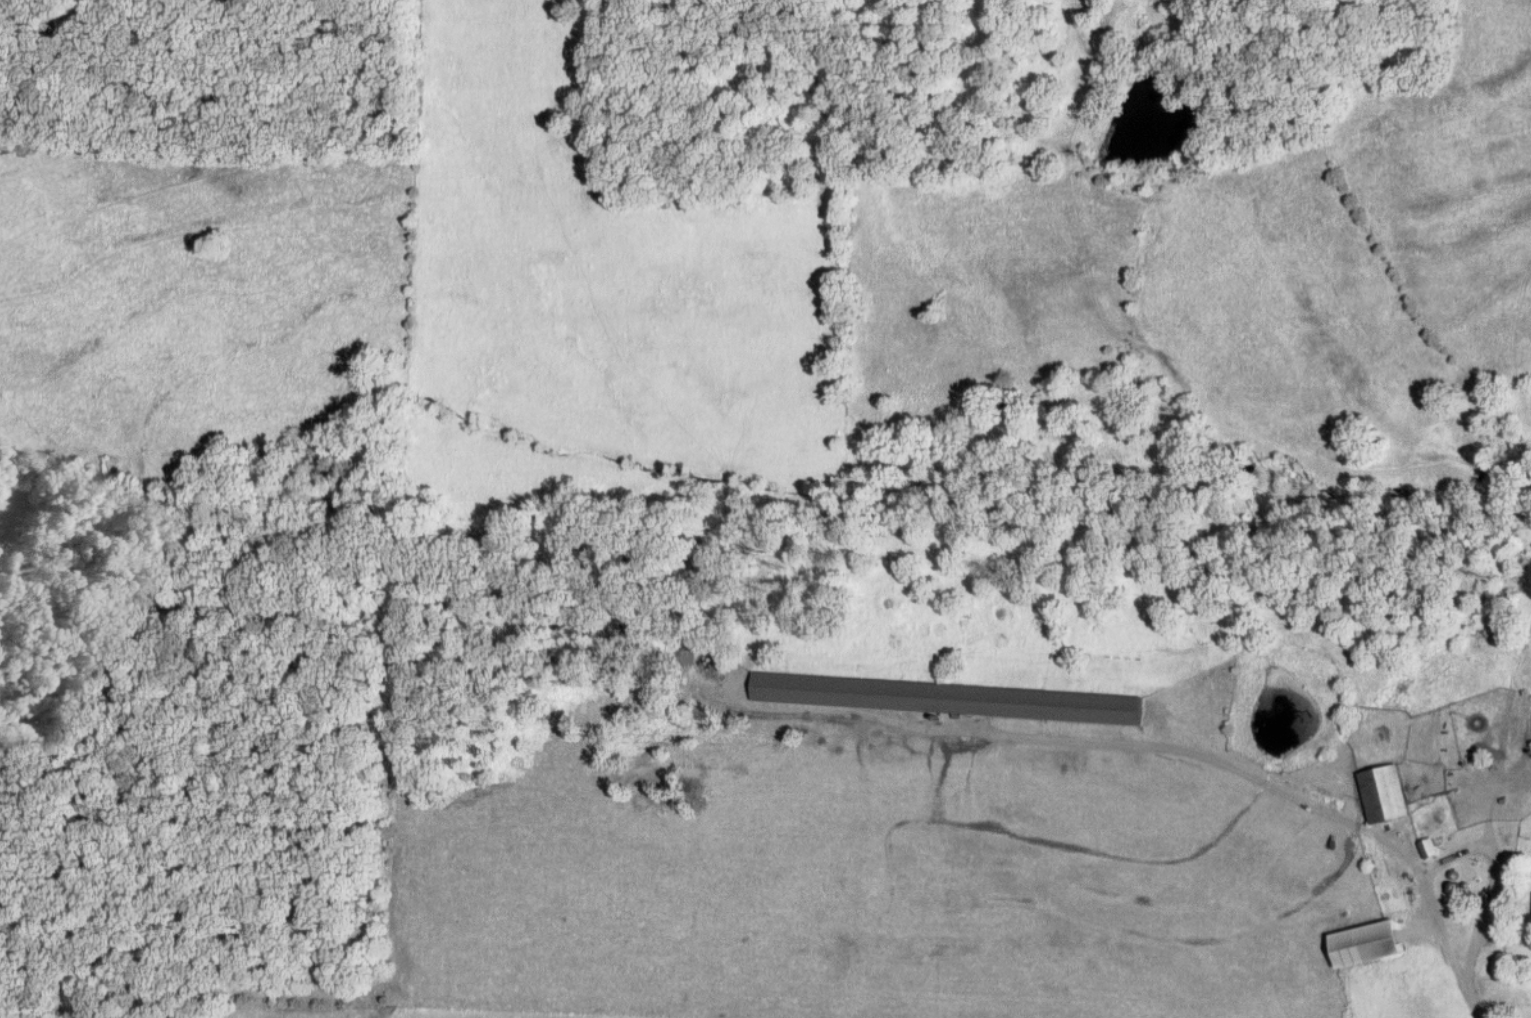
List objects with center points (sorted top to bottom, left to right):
building: (946, 699)
building: (1384, 795)
building: (1508, 814)
building: (1428, 850)
building: (1366, 945)

